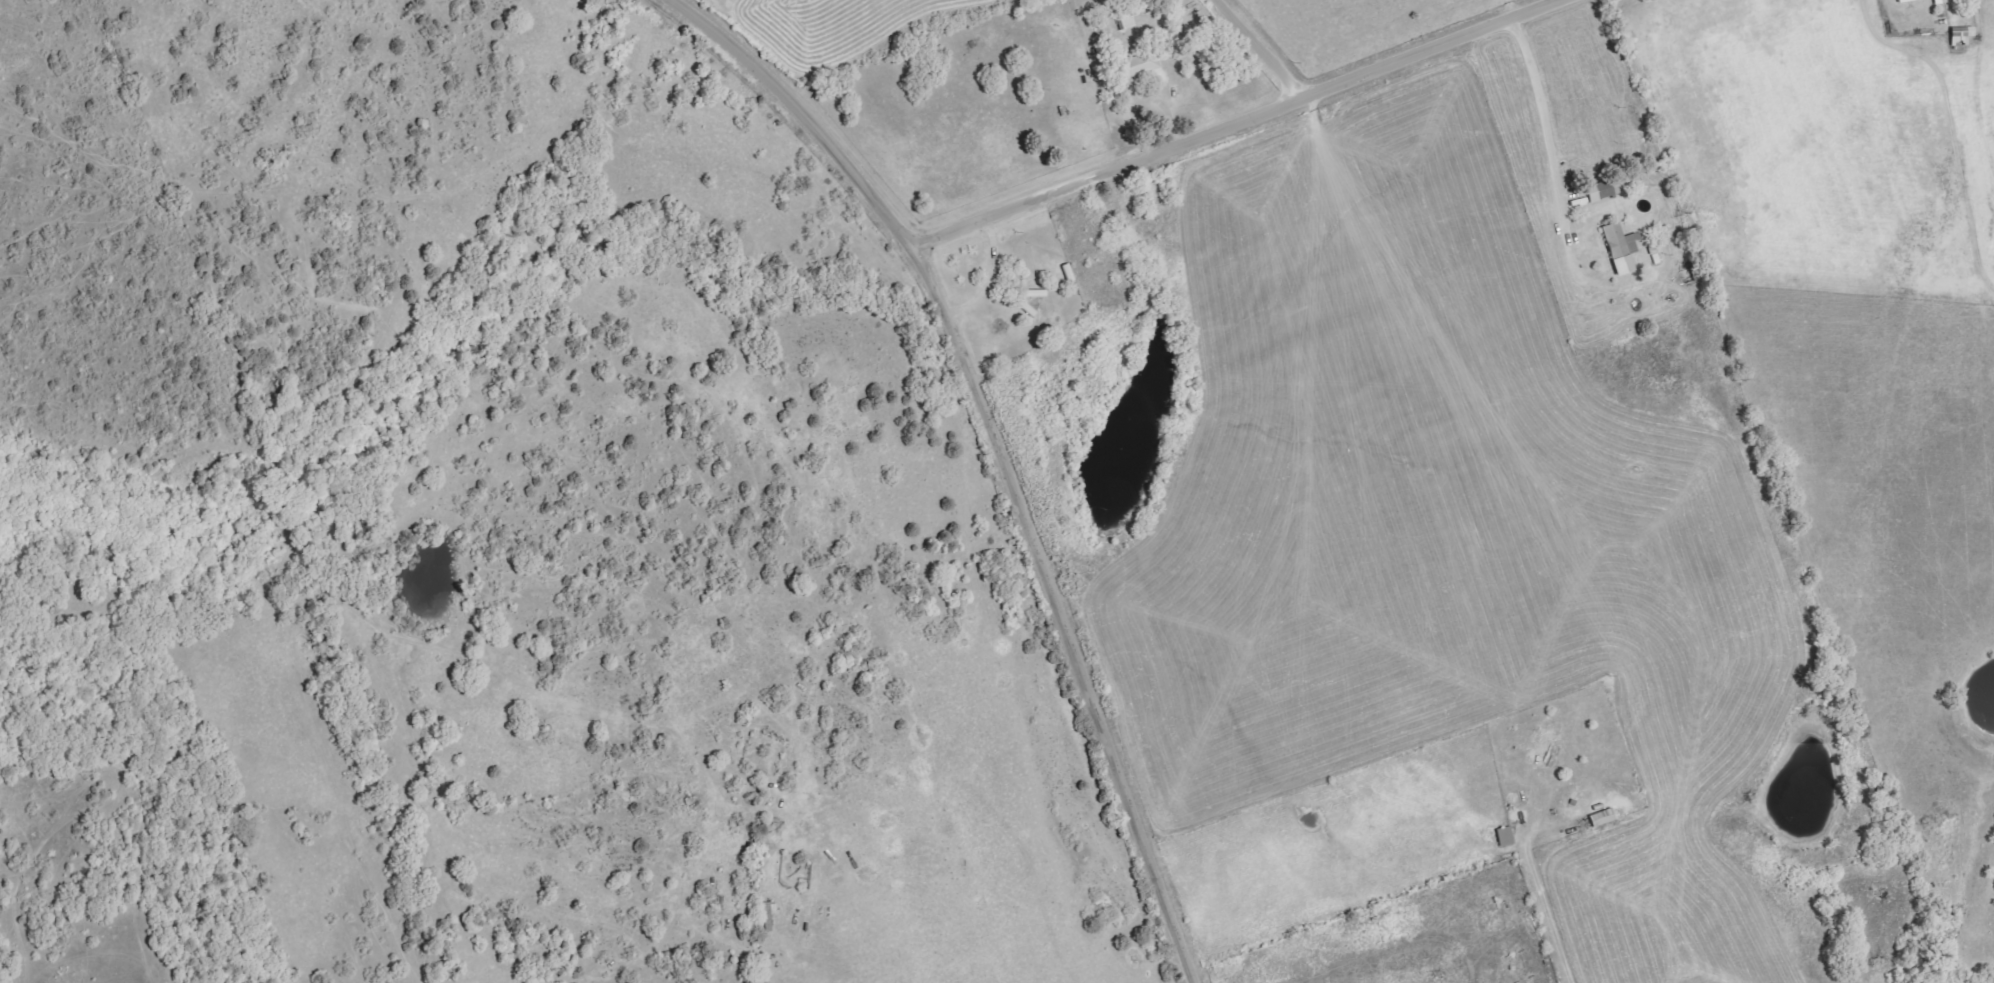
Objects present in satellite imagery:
building: (1907, 1)
building: (1941, 2)
building: (1963, 36)
road: (1256, 51)
building: (1139, 65)
road: (1257, 117)
road: (1550, 158)
road: (932, 240)
building: (1623, 247)
road: (990, 277)
road: (994, 452)
building: (1604, 817)
building: (1507, 836)
road: (1539, 884)

